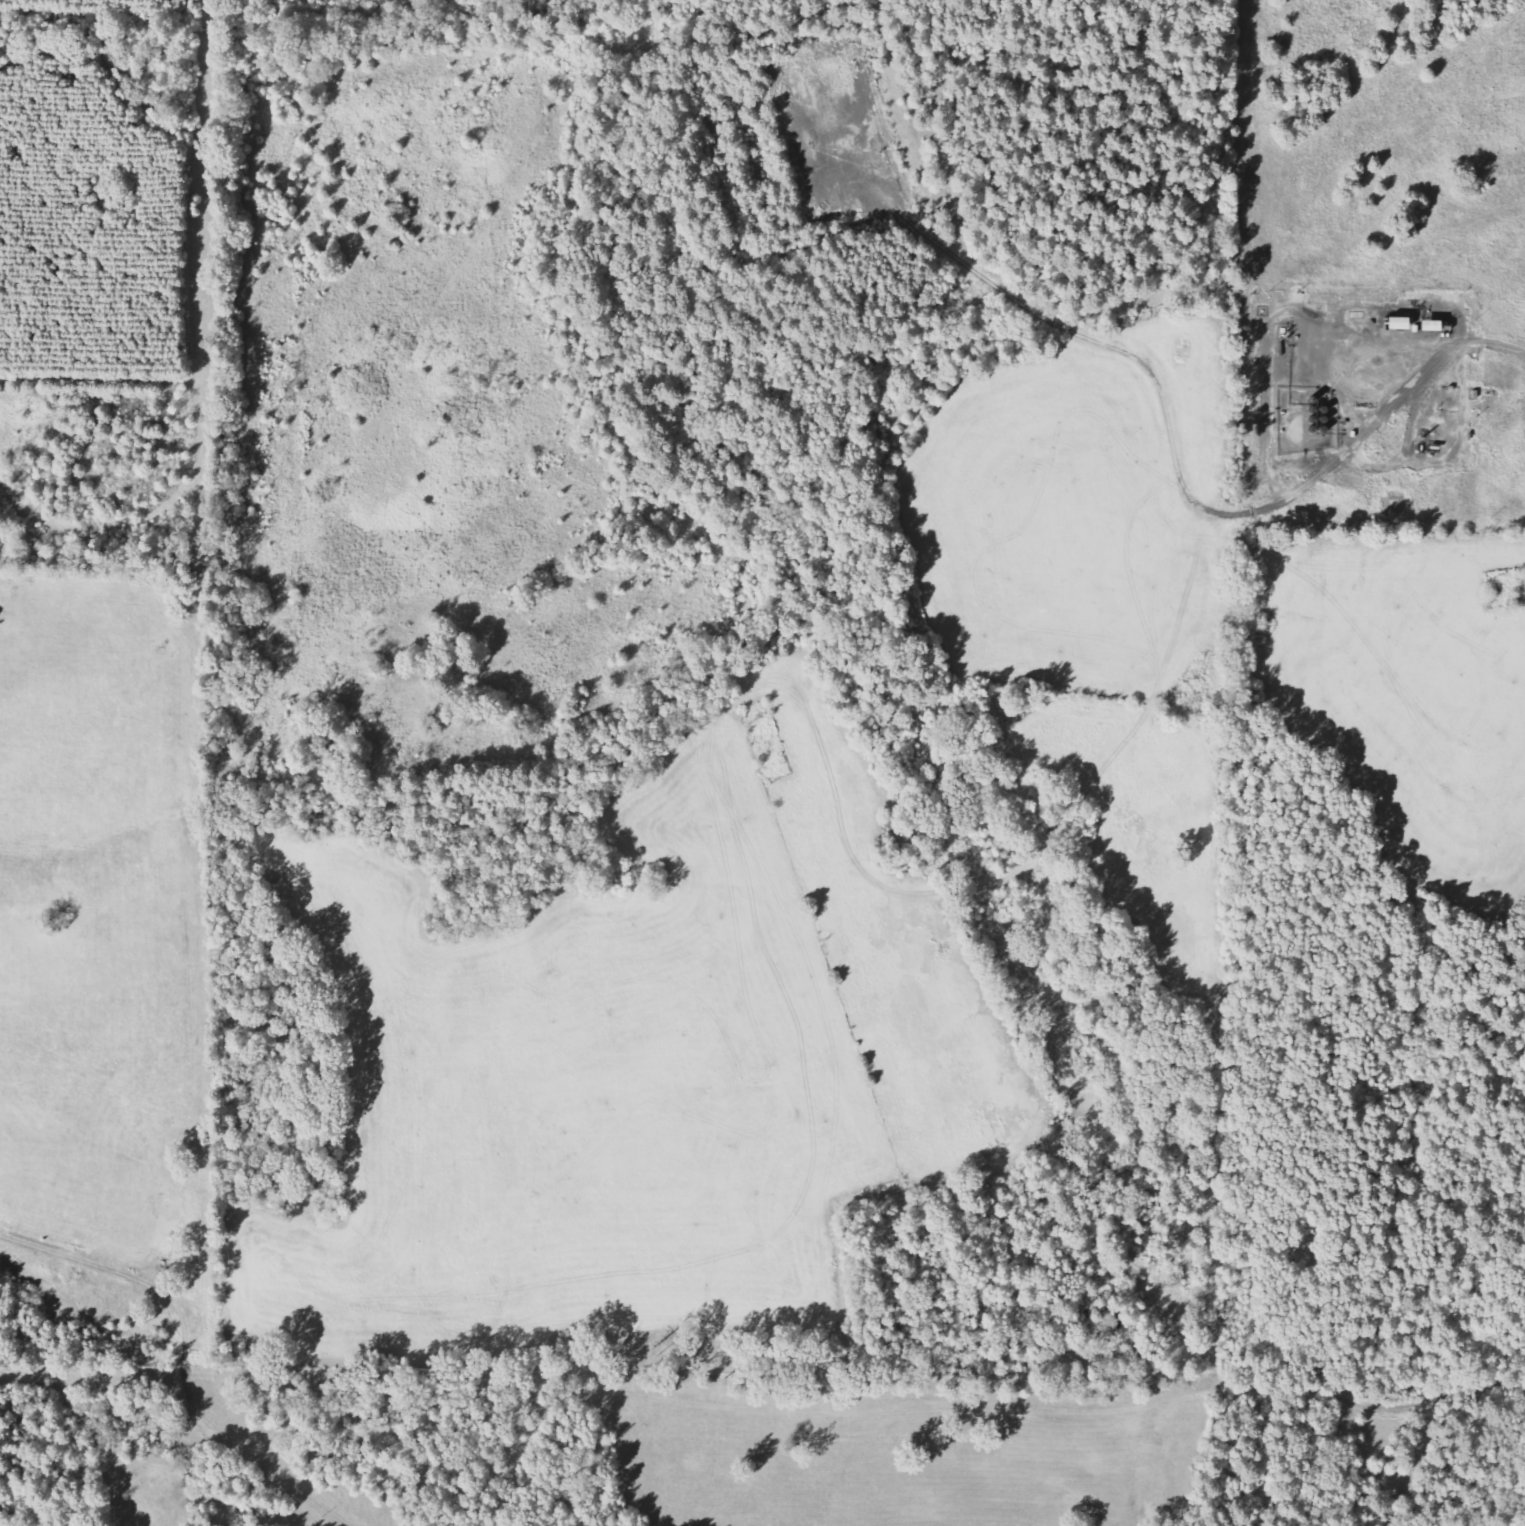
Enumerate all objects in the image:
building: (1434, 325)

